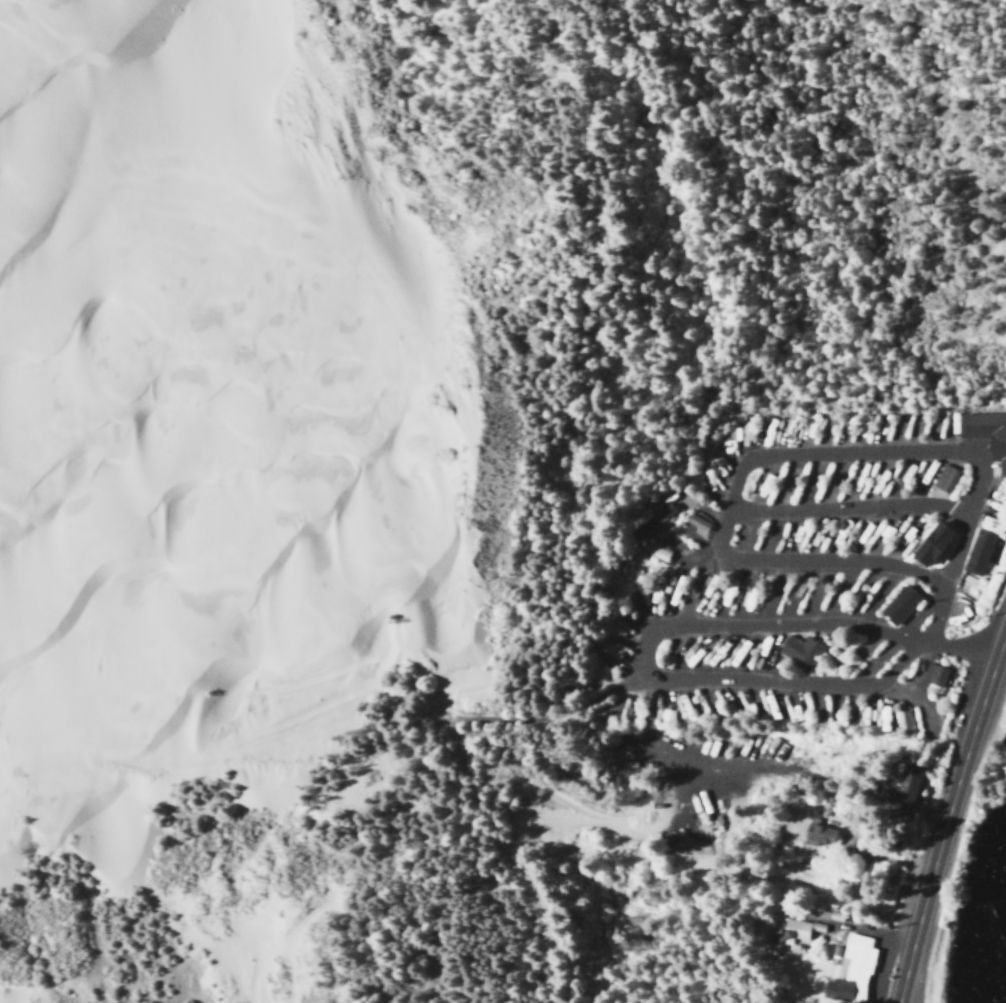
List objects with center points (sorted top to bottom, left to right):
building: (986, 435)
building: (944, 478)
road: (837, 508)
building: (646, 518)
building: (695, 522)
road: (951, 538)
building: (930, 544)
building: (655, 550)
building: (977, 551)
road: (811, 564)
building: (898, 604)
road: (834, 621)
building: (604, 650)
building: (799, 650)
building: (932, 673)
building: (902, 722)
building: (905, 783)
road: (947, 812)
building: (817, 835)
building: (792, 929)
building: (854, 965)
parking lot: (929, 966)

